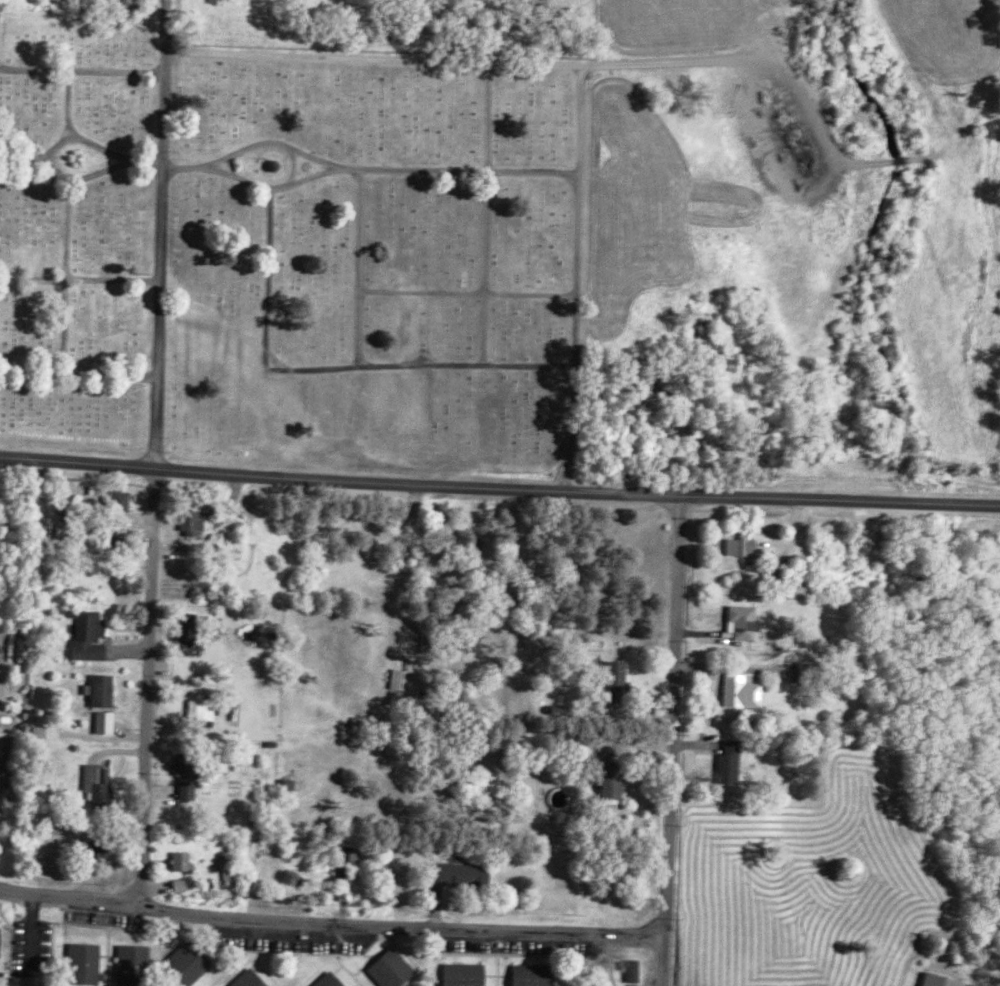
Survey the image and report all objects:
road: (370, 56)
road: (81, 69)
road: (64, 101)
road: (485, 114)
road: (76, 135)
road: (161, 164)
road: (364, 167)
road: (88, 173)
road: (268, 183)
road: (63, 226)
park: (291, 240)
road: (356, 266)
road: (482, 266)
road: (576, 276)
road: (79, 277)
road: (466, 289)
road: (62, 324)
road: (331, 366)
road: (78, 372)
road: (156, 398)
building: (755, 437)
road: (499, 487)
building: (127, 500)
building: (191, 522)
building: (742, 547)
building: (742, 622)
building: (189, 627)
building: (89, 638)
building: (400, 679)
building: (616, 679)
road: (147, 686)
building: (102, 690)
building: (742, 691)
building: (203, 710)
building: (106, 722)
building: (52, 732)
road: (670, 739)
building: (730, 762)
building: (610, 782)
building: (100, 783)
building: (289, 784)
building: (106, 841)
building: (189, 859)
building: (232, 867)
building: (480, 874)
building: (186, 884)
road: (329, 925)
building: (4, 940)
building: (185, 959)
building: (80, 961)
building: (129, 963)
building: (387, 967)
building: (627, 968)
building: (637, 970)
building: (458, 973)
building: (529, 974)
building: (245, 978)
building: (324, 979)
building: (337, 980)
building: (948, 980)

